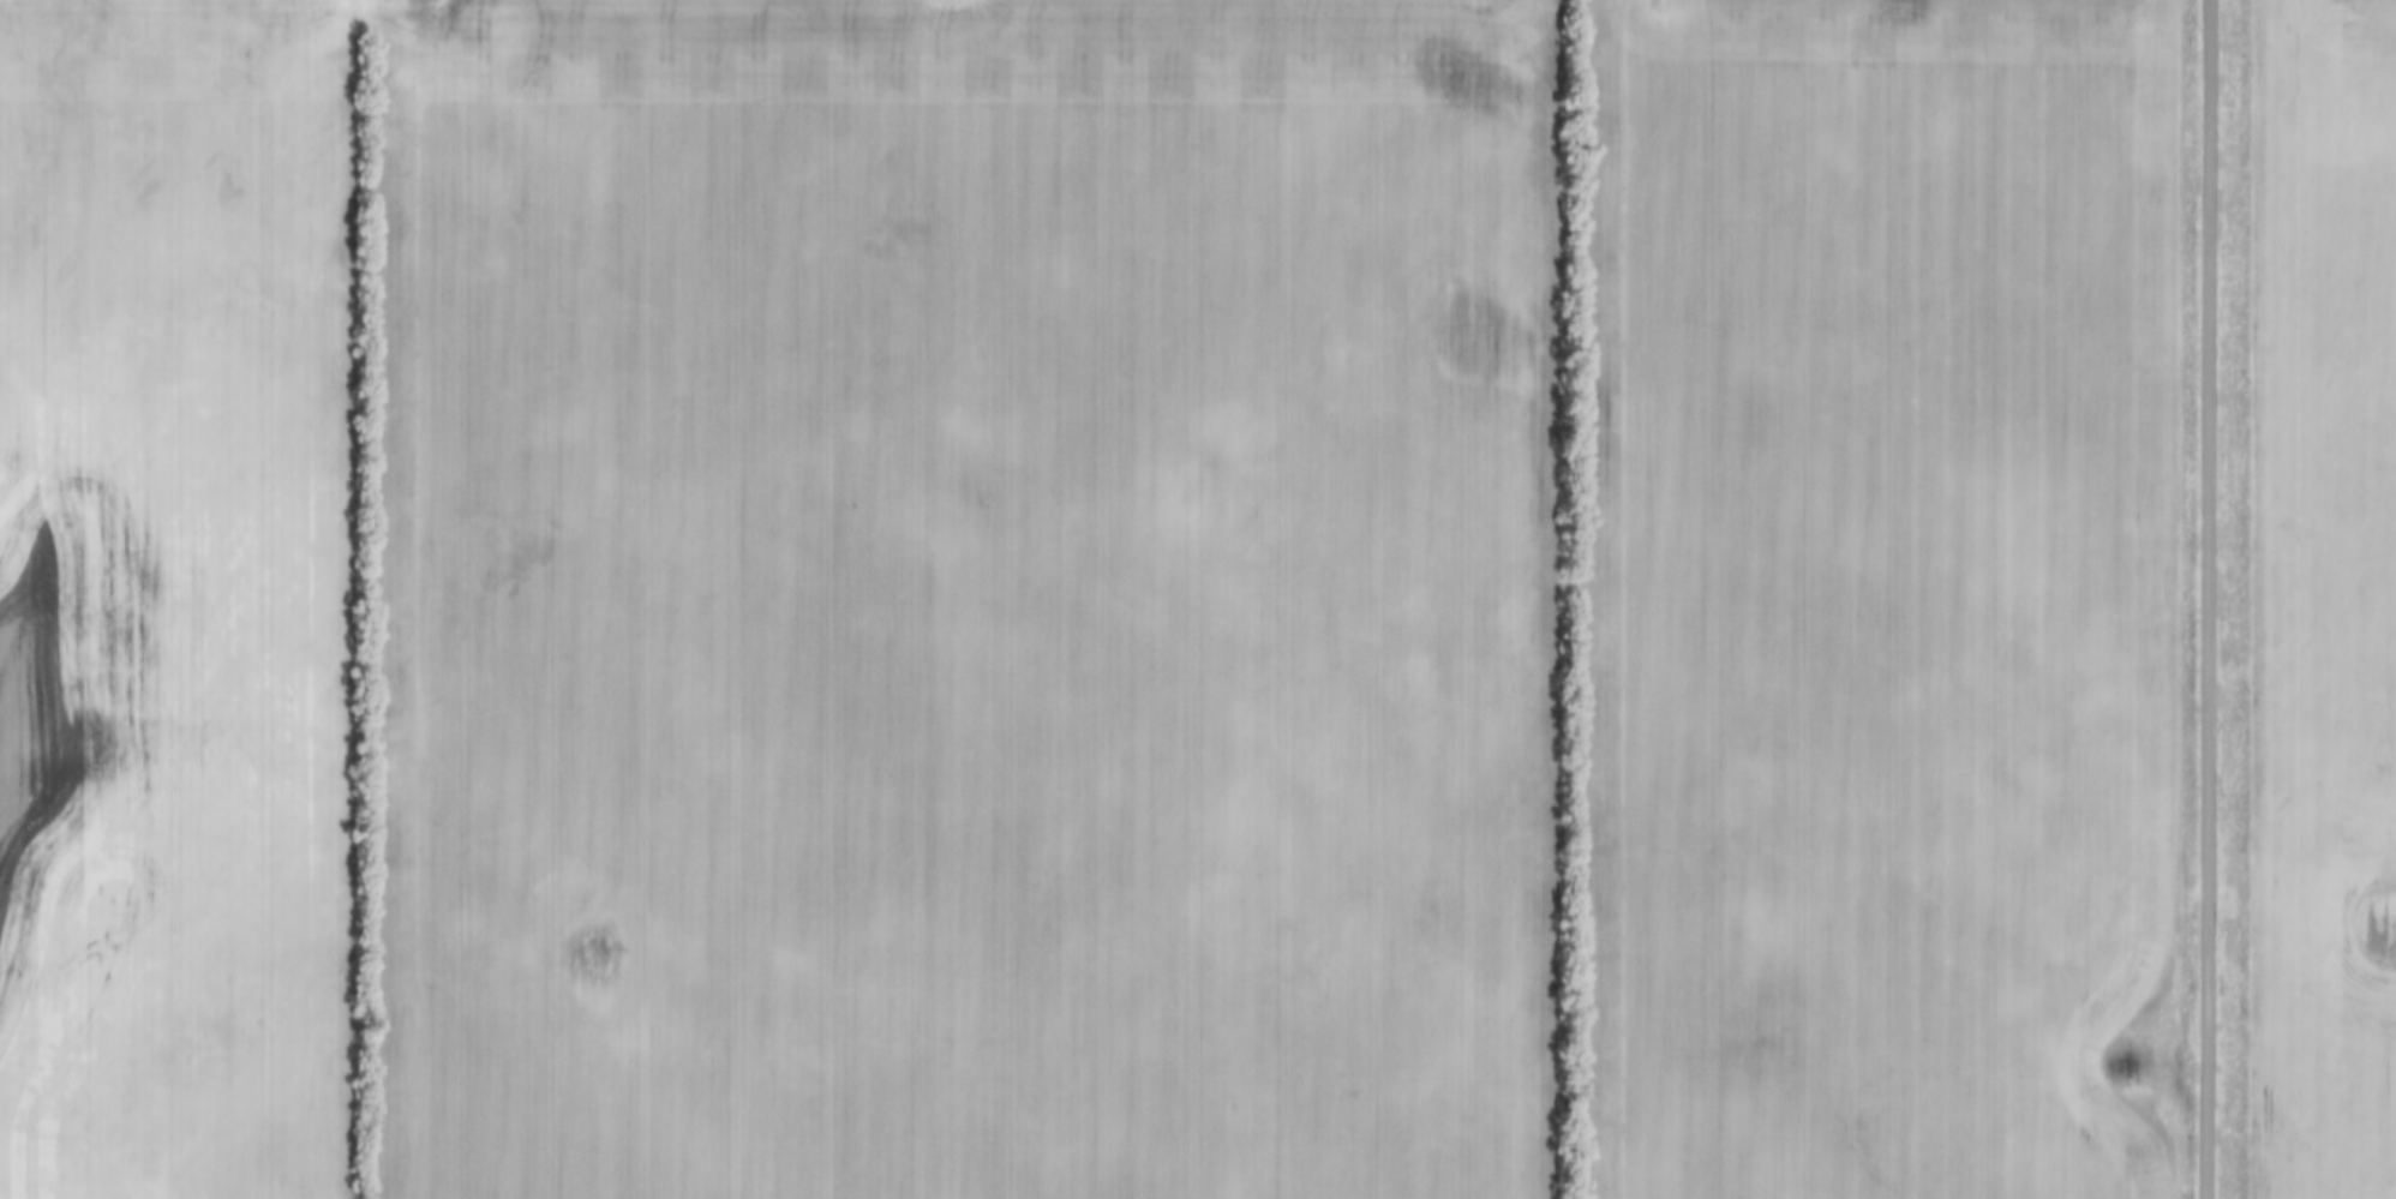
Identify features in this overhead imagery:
road: (2208, 599)

